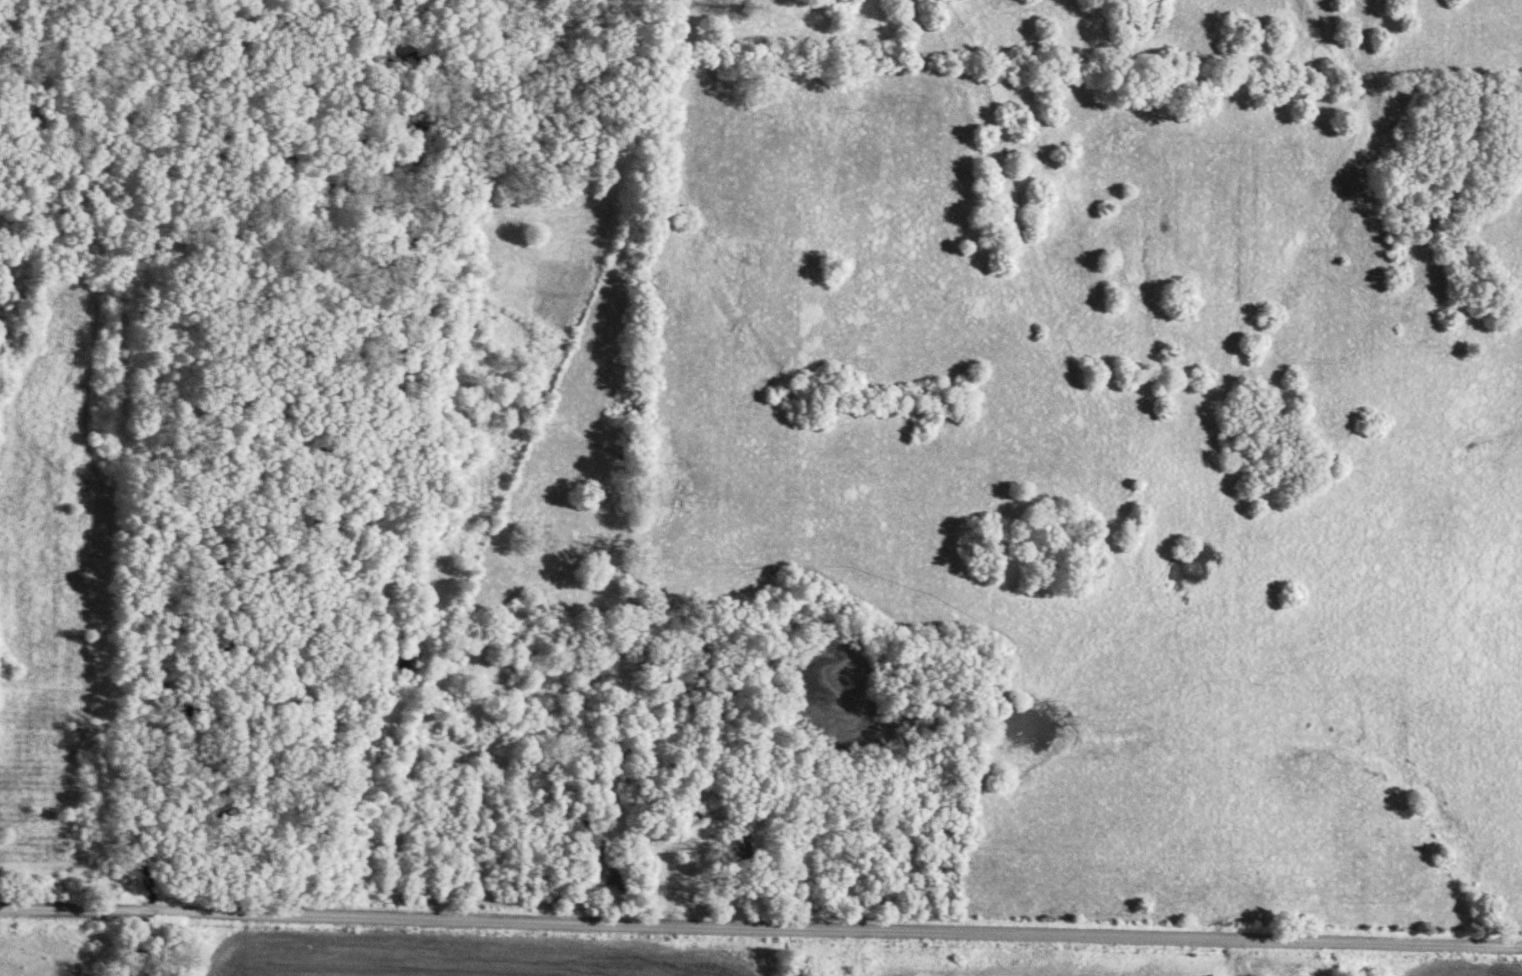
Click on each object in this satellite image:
building: (591, 843)
road: (761, 923)
road: (1226, 957)

